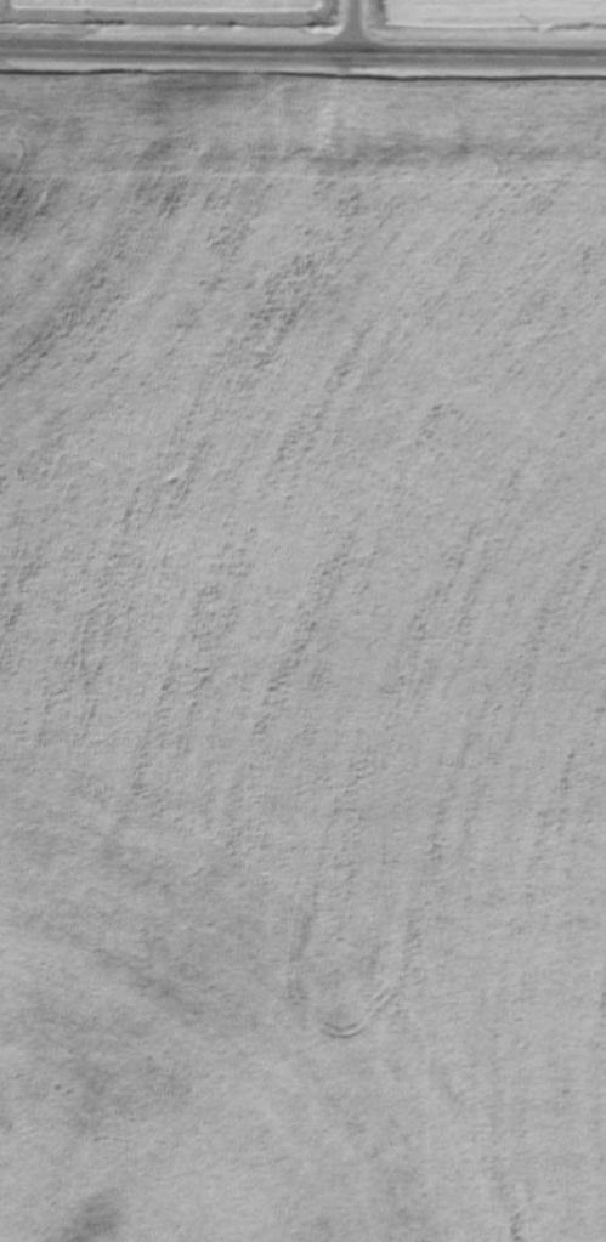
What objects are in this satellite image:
road: (358, 29)
road: (302, 57)

